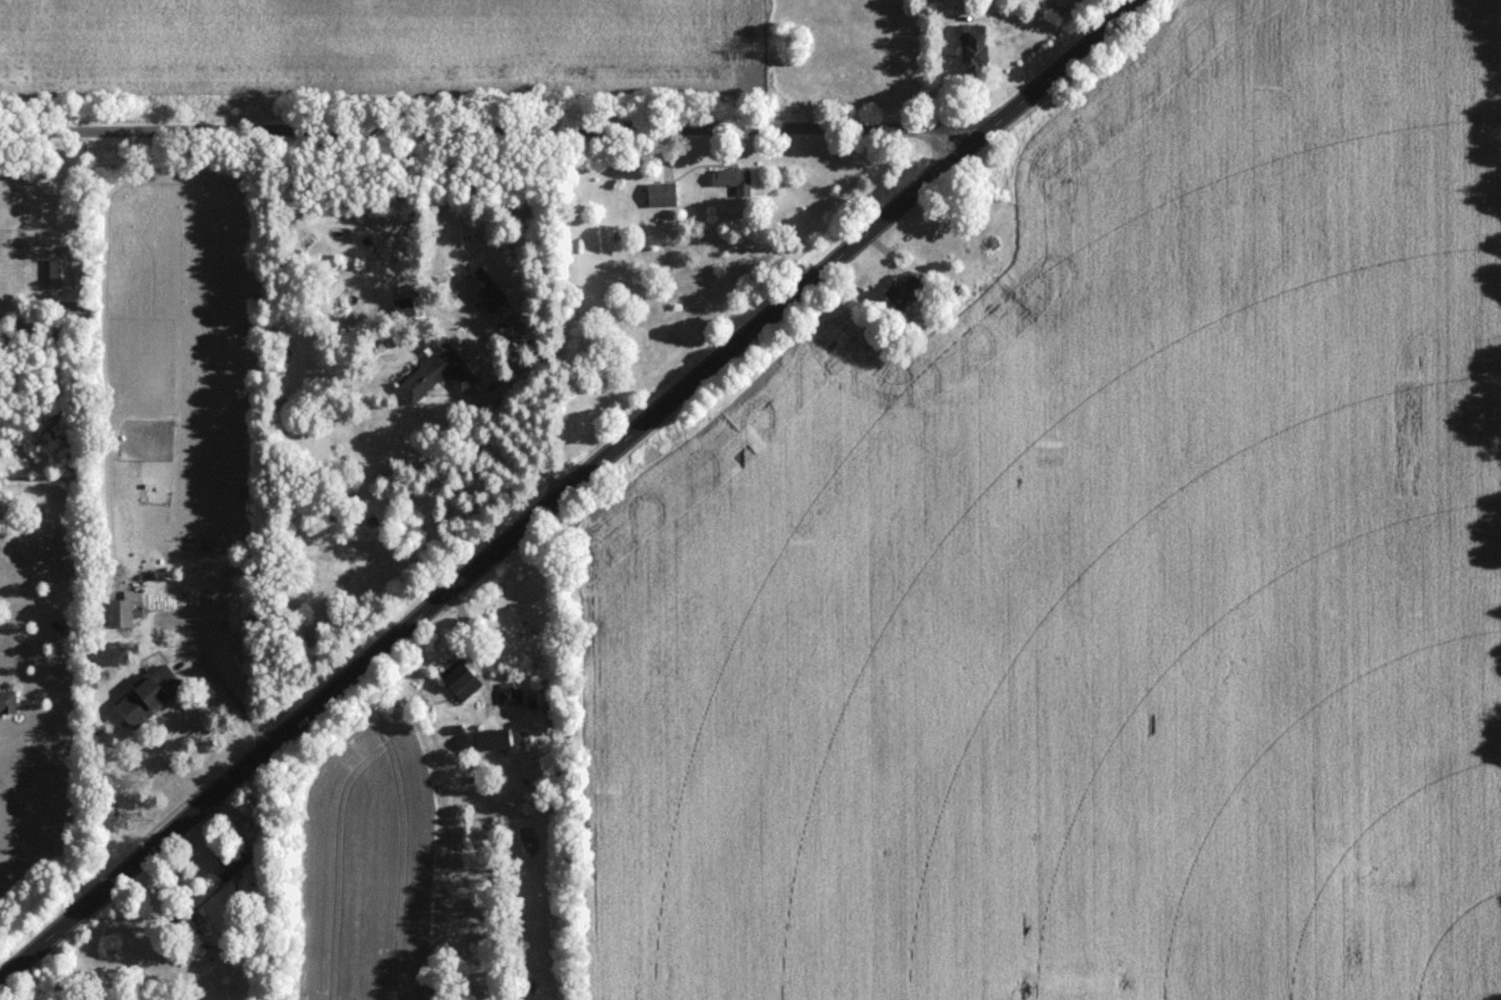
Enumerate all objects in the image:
building: (986, 0)
building: (971, 53)
road: (495, 127)
building: (731, 182)
building: (661, 199)
building: (479, 293)
building: (903, 297)
building: (403, 312)
building: (436, 377)
road: (533, 443)
road: (567, 490)
building: (119, 618)
building: (461, 687)
building: (507, 698)
building: (147, 701)
building: (6, 707)
building: (490, 743)
building: (232, 864)
building: (185, 931)

